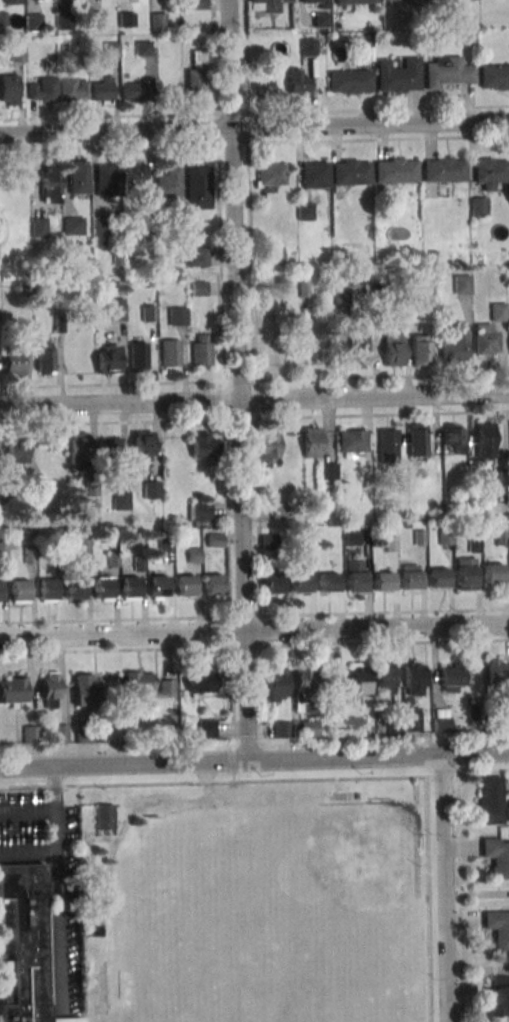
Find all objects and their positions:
building: (43, 0)
building: (407, 0)
building: (448, 0)
building: (12, 2)
building: (353, 2)
building: (317, 3)
building: (198, 4)
building: (268, 5)
building: (126, 18)
building: (2, 19)
building: (95, 19)
building: (158, 19)
building: (321, 19)
building: (33, 21)
building: (64, 23)
building: (469, 40)
building: (307, 45)
building: (414, 45)
building: (63, 47)
building: (111, 48)
building: (143, 48)
building: (17, 52)
building: (368, 53)
building: (447, 71)
building: (198, 74)
building: (397, 75)
building: (494, 76)
building: (349, 81)
building: (297, 82)
building: (8, 89)
building: (71, 89)
building: (136, 89)
building: (43, 90)
building: (101, 90)
road: (254, 112)
road: (254, 127)
road: (254, 142)
building: (443, 169)
building: (395, 171)
building: (490, 171)
building: (350, 172)
building: (271, 174)
building: (314, 175)
building: (78, 177)
building: (107, 179)
building: (134, 179)
building: (168, 182)
building: (50, 184)
building: (198, 187)
building: (479, 205)
building: (305, 211)
building: (178, 222)
building: (72, 225)
building: (38, 227)
building: (148, 227)
building: (100, 232)
building: (273, 254)
building: (197, 256)
building: (117, 259)
building: (462, 283)
building: (199, 288)
building: (342, 296)
building: (117, 309)
building: (499, 311)
building: (149, 313)
building: (178, 316)
building: (59, 323)
building: (484, 339)
building: (454, 342)
building: (201, 349)
building: (359, 349)
building: (393, 350)
building: (420, 350)
building: (171, 352)
building: (138, 355)
building: (45, 357)
building: (108, 358)
building: (13, 364)
road: (253, 370)
road: (223, 374)
road: (238, 380)
road: (254, 380)
road: (254, 399)
road: (254, 417)
building: (452, 435)
building: (351, 439)
building: (417, 439)
building: (485, 439)
building: (312, 442)
building: (387, 444)
building: (205, 445)
building: (143, 446)
building: (15, 448)
building: (79, 448)
building: (268, 448)
building: (111, 450)
building: (328, 471)
building: (503, 479)
building: (91, 485)
building: (152, 489)
building: (2, 490)
building: (35, 491)
building: (121, 500)
building: (390, 506)
building: (199, 510)
building: (280, 510)
building: (407, 524)
building: (446, 536)
building: (419, 537)
building: (501, 537)
building: (352, 538)
building: (214, 540)
building: (267, 541)
building: (308, 541)
building: (167, 543)
building: (390, 543)
building: (474, 544)
building: (83, 548)
building: (2, 549)
building: (29, 555)
building: (193, 555)
building: (57, 559)
building: (112, 559)
building: (137, 563)
building: (493, 572)
building: (464, 573)
building: (355, 574)
building: (410, 576)
building: (437, 577)
building: (272, 578)
building: (300, 578)
building: (382, 580)
building: (327, 581)
building: (185, 584)
building: (212, 584)
building: (157, 585)
building: (130, 586)
building: (102, 587)
building: (47, 588)
building: (75, 588)
building: (19, 589)
building: (0, 591)
road: (254, 615)
road: (254, 631)
road: (254, 647)
building: (495, 672)
building: (360, 678)
building: (414, 678)
building: (451, 678)
building: (385, 679)
building: (201, 681)
building: (332, 681)
building: (278, 684)
building: (147, 685)
building: (301, 688)
building: (50, 689)
building: (85, 689)
building: (13, 691)
building: (503, 721)
building: (412, 722)
building: (441, 724)
building: (206, 728)
building: (309, 728)
building: (394, 728)
building: (282, 729)
building: (81, 732)
building: (31, 733)
building: (61, 733)
road: (247, 741)
road: (254, 760)
road: (233, 764)
road: (207, 779)
road: (254, 779)
parking lot: (204, 797)
road: (209, 797)
building: (489, 799)
road: (53, 807)
building: (105, 815)
road: (27, 849)
building: (497, 856)
road: (108, 866)
park: (339, 878)
road: (444, 888)
road: (459, 895)
road: (429, 899)
park: (255, 902)
building: (498, 927)
building: (91, 930)
road: (56, 935)
building: (23, 945)
building: (498, 996)
park: (367, 1004)

